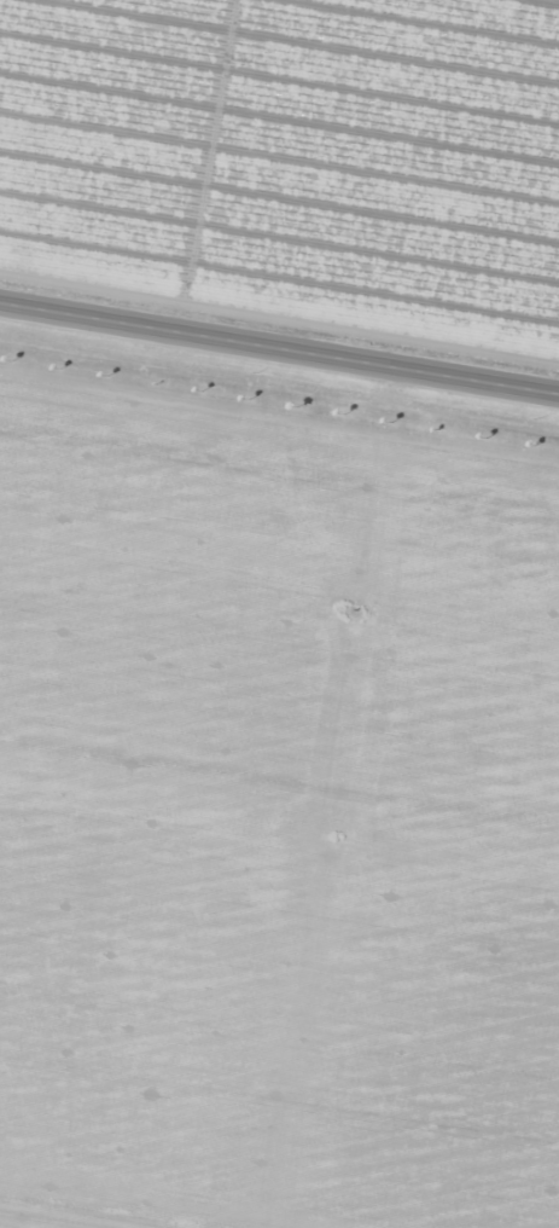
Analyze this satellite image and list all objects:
road: (279, 369)

